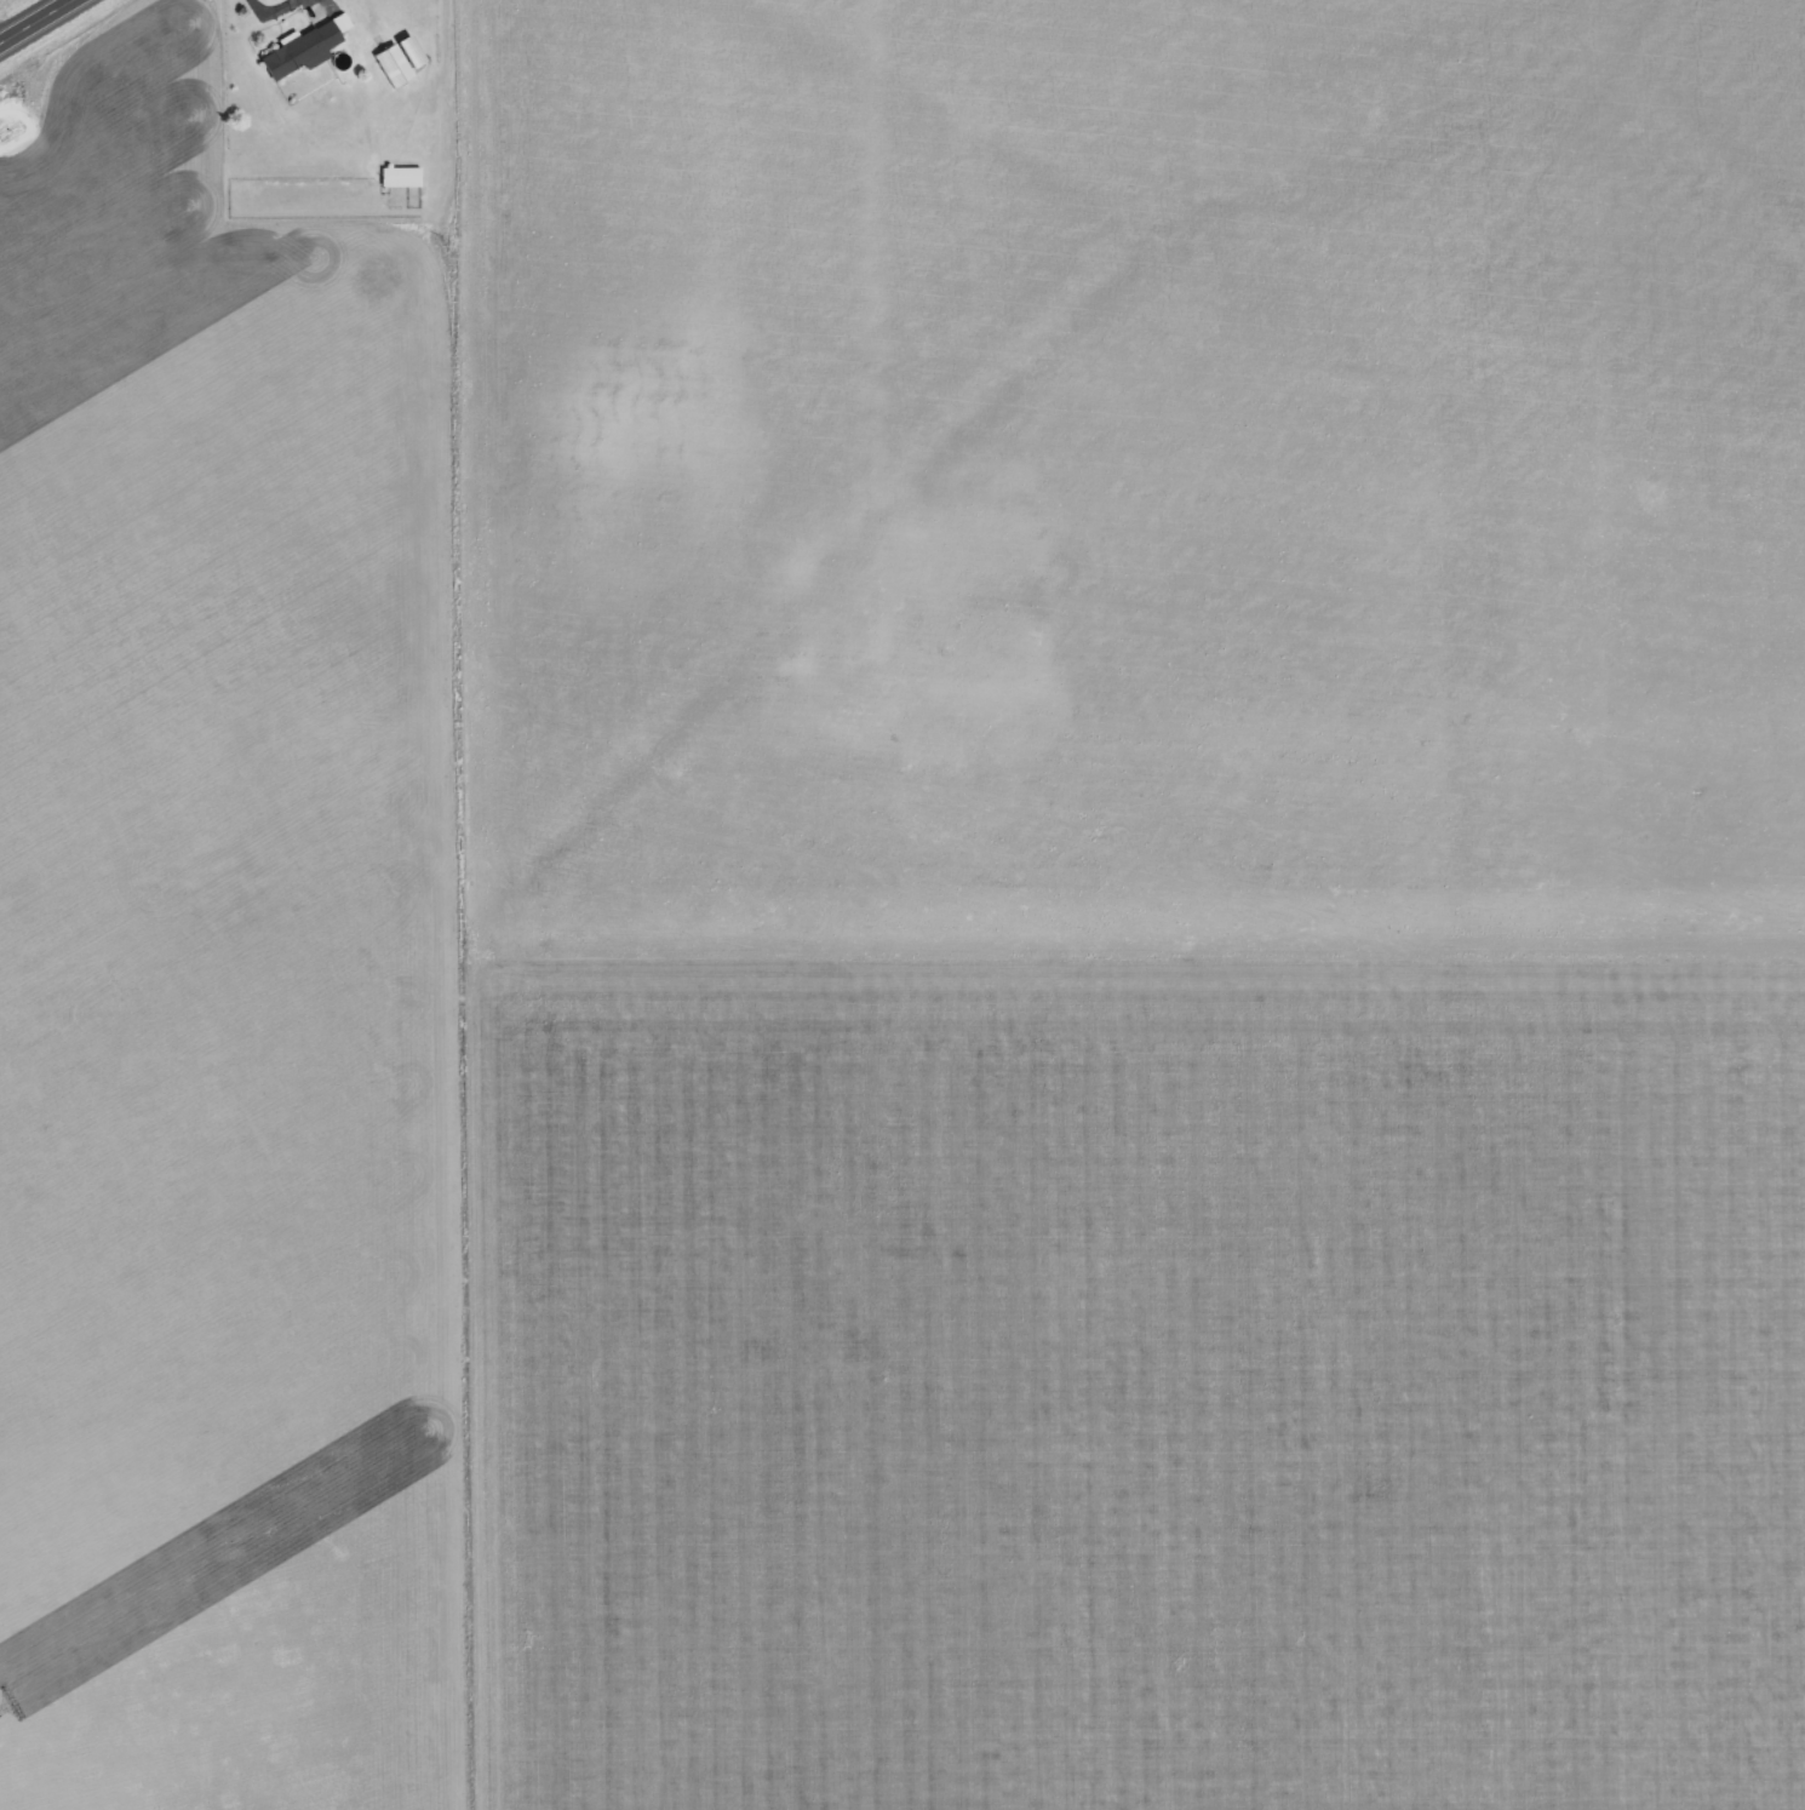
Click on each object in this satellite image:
road: (40, 24)
road: (476, 219)

